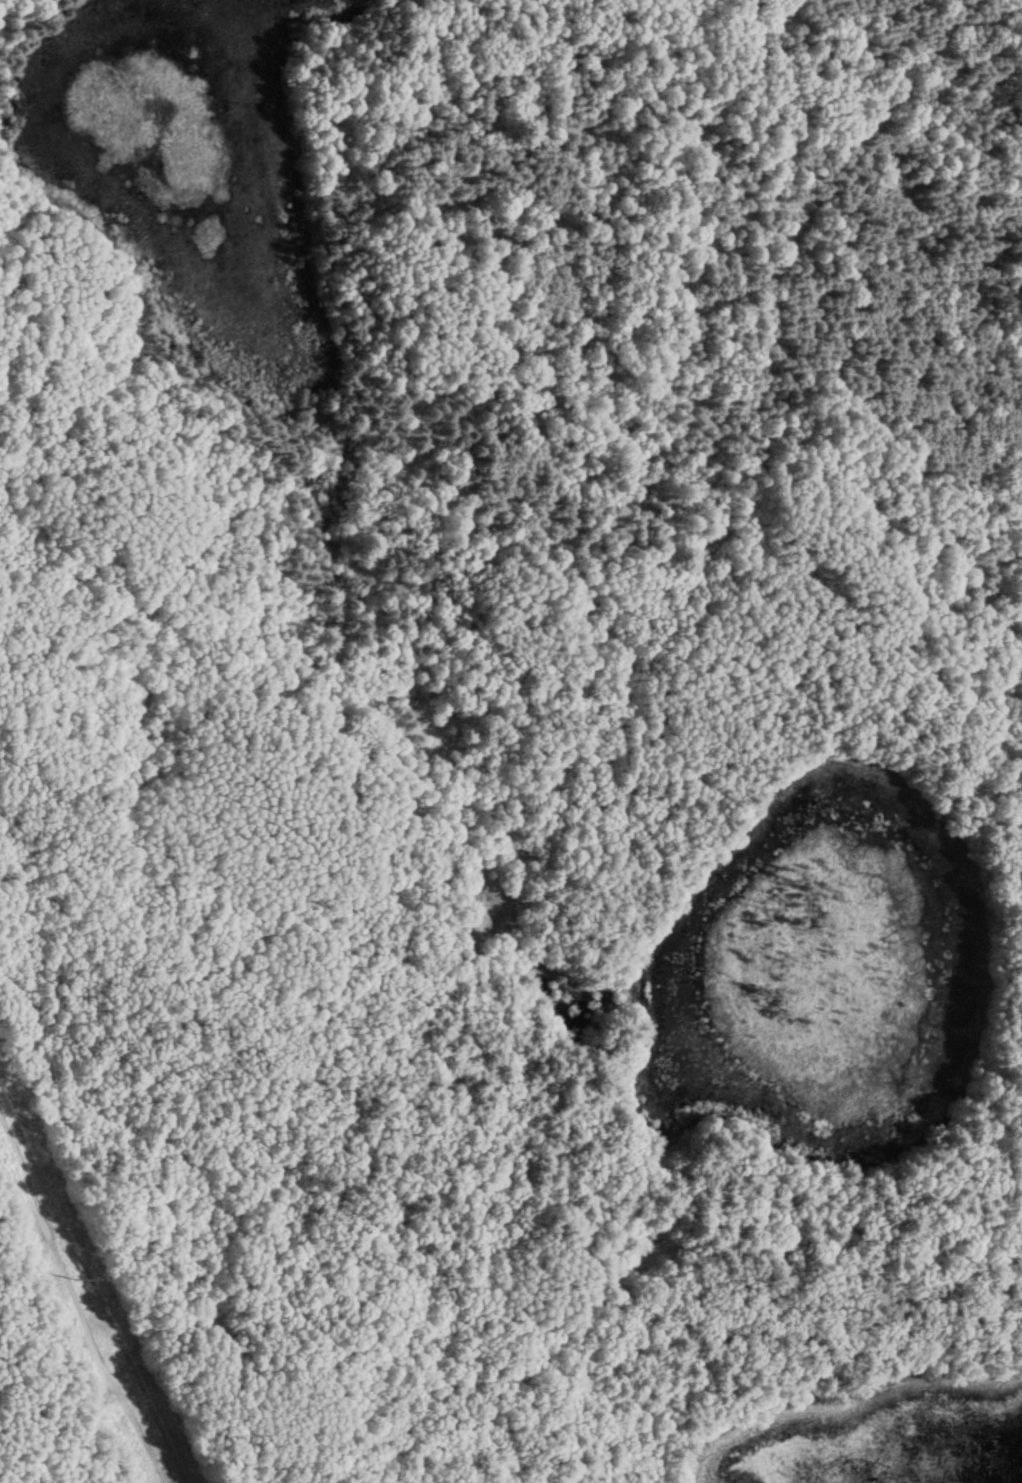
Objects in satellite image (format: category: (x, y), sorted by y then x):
road: (234, 691)
road: (561, 780)
road: (558, 1229)
road: (51, 1252)
road: (138, 1434)

